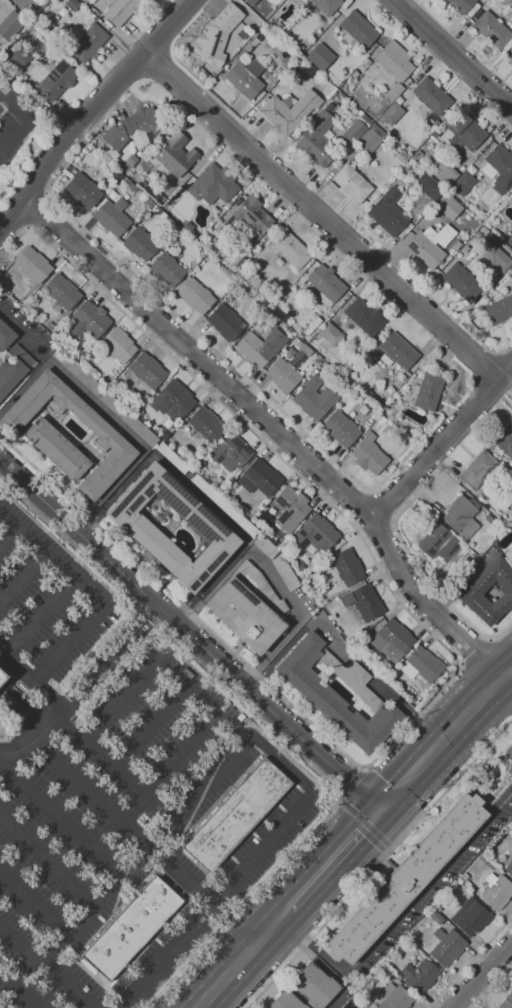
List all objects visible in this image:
building: (87, 1)
road: (15, 2)
road: (20, 2)
building: (251, 2)
building: (73, 5)
building: (461, 5)
building: (324, 7)
building: (120, 11)
building: (476, 14)
building: (12, 25)
building: (510, 26)
building: (356, 31)
building: (493, 31)
building: (242, 35)
building: (217, 36)
building: (89, 42)
road: (453, 54)
building: (18, 56)
building: (320, 56)
building: (511, 57)
building: (394, 61)
building: (364, 64)
building: (354, 74)
building: (58, 79)
building: (244, 79)
building: (332, 96)
building: (432, 96)
building: (387, 98)
road: (67, 110)
road: (89, 111)
building: (285, 113)
building: (392, 114)
road: (24, 117)
building: (135, 128)
building: (356, 129)
building: (465, 132)
building: (434, 134)
building: (316, 140)
building: (369, 141)
building: (102, 150)
road: (31, 153)
building: (176, 154)
building: (417, 155)
building: (133, 159)
building: (499, 168)
building: (444, 174)
building: (368, 176)
road: (33, 183)
building: (463, 183)
building: (215, 184)
building: (352, 185)
building: (429, 186)
building: (134, 187)
building: (82, 189)
building: (510, 199)
building: (449, 206)
building: (215, 211)
building: (388, 212)
road: (39, 214)
building: (113, 216)
road: (323, 216)
road: (13, 218)
building: (248, 221)
road: (3, 224)
building: (483, 231)
building: (182, 233)
building: (510, 241)
building: (141, 243)
building: (430, 245)
building: (456, 246)
building: (292, 249)
building: (222, 250)
building: (494, 256)
building: (34, 264)
building: (168, 269)
building: (497, 276)
building: (462, 282)
building: (326, 284)
building: (63, 291)
building: (197, 295)
building: (499, 310)
building: (364, 317)
building: (91, 320)
building: (226, 323)
road: (22, 331)
building: (331, 333)
building: (6, 335)
road: (201, 336)
building: (120, 345)
building: (261, 346)
building: (399, 351)
building: (376, 352)
building: (289, 368)
building: (15, 369)
building: (148, 370)
building: (407, 382)
building: (347, 387)
building: (429, 390)
building: (106, 397)
building: (315, 397)
building: (146, 398)
building: (173, 400)
road: (108, 415)
building: (382, 420)
building: (168, 422)
building: (207, 424)
building: (341, 428)
road: (280, 431)
building: (108, 434)
building: (165, 434)
building: (504, 440)
road: (442, 442)
building: (57, 449)
building: (231, 452)
building: (370, 454)
building: (173, 457)
building: (478, 470)
building: (261, 478)
road: (199, 497)
road: (386, 503)
road: (360, 504)
building: (225, 505)
building: (291, 508)
building: (160, 515)
building: (463, 516)
building: (489, 519)
building: (133, 523)
road: (380, 530)
building: (317, 534)
road: (7, 536)
building: (492, 539)
building: (439, 542)
building: (266, 546)
building: (509, 554)
building: (300, 566)
building: (348, 567)
building: (286, 573)
road: (273, 578)
road: (22, 581)
building: (478, 588)
road: (441, 593)
road: (87, 596)
parking lot: (51, 599)
building: (364, 602)
building: (249, 608)
road: (40, 621)
road: (185, 629)
building: (366, 629)
building: (393, 640)
road: (339, 641)
road: (475, 651)
road: (454, 654)
road: (106, 655)
building: (422, 665)
building: (3, 677)
road: (471, 694)
building: (320, 695)
road: (201, 701)
road: (56, 706)
road: (151, 727)
road: (274, 732)
road: (182, 756)
road: (452, 758)
road: (282, 760)
road: (115, 765)
road: (402, 768)
road: (231, 776)
traffic signals: (351, 780)
road: (351, 783)
traffic signals: (388, 784)
road: (89, 793)
road: (254, 797)
road: (382, 809)
parking lot: (105, 813)
building: (237, 815)
road: (277, 817)
road: (61, 822)
road: (366, 824)
traffic signals: (370, 841)
road: (380, 864)
road: (48, 866)
road: (346, 866)
building: (509, 868)
building: (408, 878)
road: (435, 883)
building: (497, 891)
road: (199, 892)
road: (216, 902)
road: (277, 904)
road: (36, 906)
road: (93, 913)
building: (471, 917)
building: (132, 928)
building: (447, 946)
road: (322, 953)
road: (258, 961)
road: (470, 962)
road: (47, 965)
road: (481, 974)
building: (391, 976)
building: (420, 976)
building: (315, 985)
road: (494, 988)
road: (341, 989)
road: (17, 991)
building: (396, 997)
building: (287, 1001)
building: (507, 1001)

